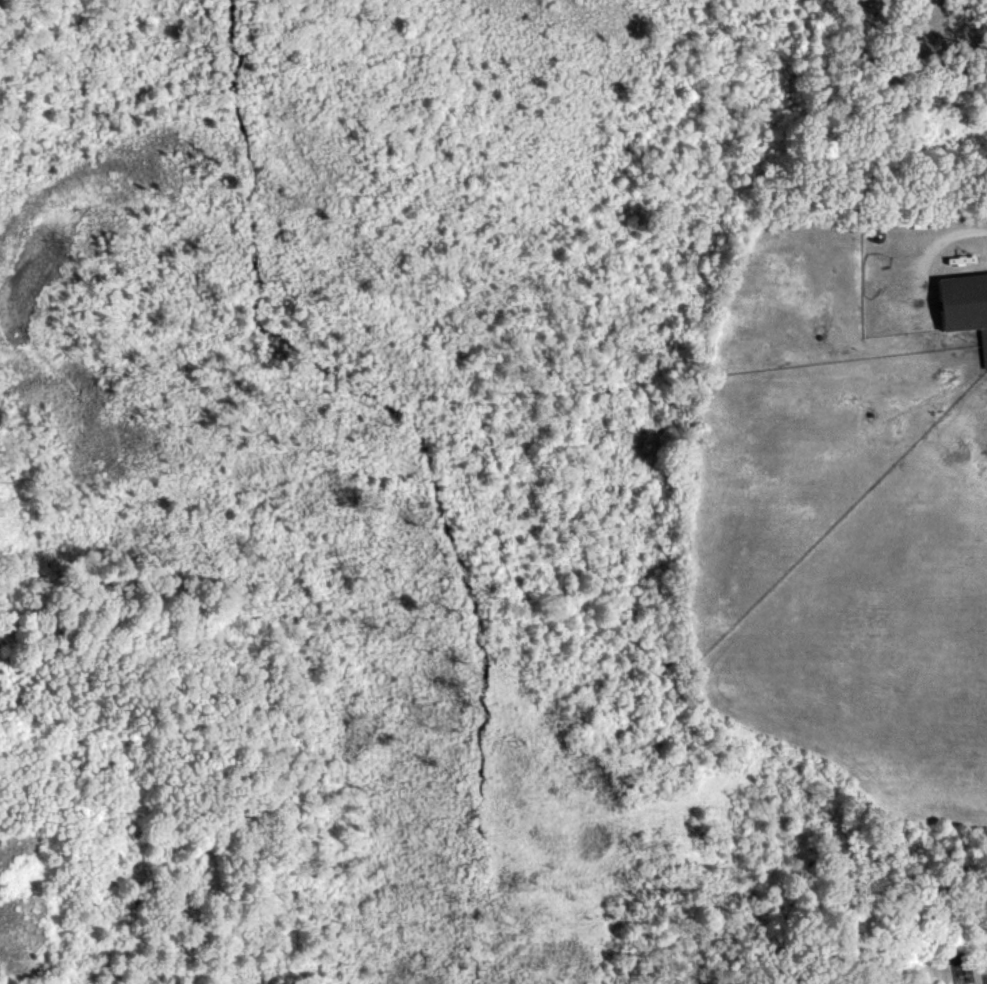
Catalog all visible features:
road: (933, 248)
building: (964, 307)

